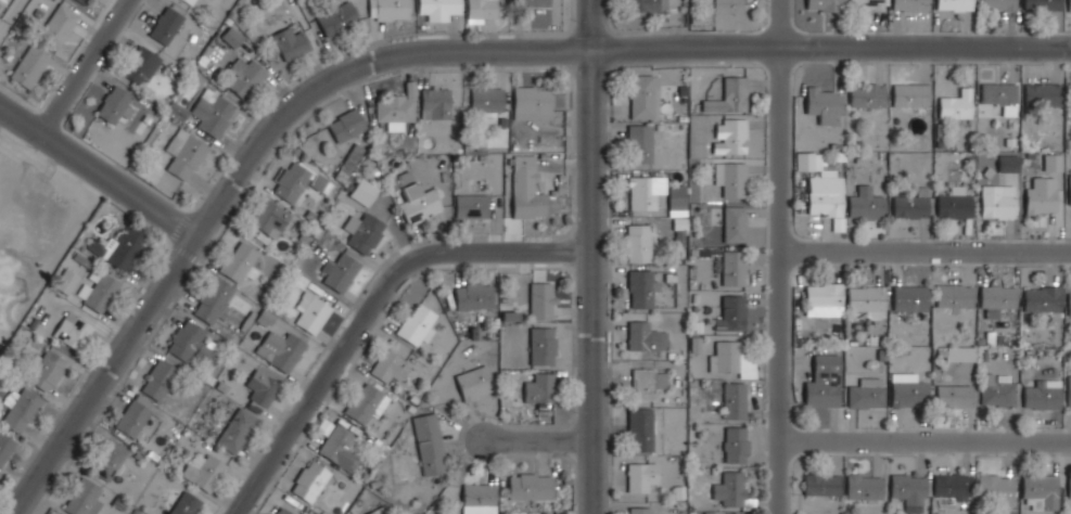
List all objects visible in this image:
building: (81, 1)
building: (187, 1)
building: (531, 2)
building: (646, 4)
building: (865, 4)
building: (909, 4)
building: (954, 4)
building: (997, 4)
building: (1042, 4)
building: (824, 5)
building: (1069, 5)
building: (728, 7)
building: (390, 9)
building: (437, 9)
building: (481, 11)
road: (9, 13)
building: (337, 17)
road: (589, 24)
building: (59, 25)
building: (165, 25)
building: (232, 36)
building: (290, 42)
road: (830, 46)
building: (140, 65)
building: (29, 66)
road: (84, 66)
building: (244, 76)
building: (910, 94)
building: (1042, 94)
building: (642, 95)
building: (728, 95)
building: (866, 97)
building: (999, 97)
building: (487, 100)
building: (434, 102)
building: (533, 102)
building: (112, 103)
building: (1070, 103)
building: (824, 105)
building: (955, 105)
building: (394, 108)
road: (2, 111)
building: (177, 111)
building: (212, 111)
building: (346, 125)
building: (694, 136)
building: (729, 137)
building: (639, 142)
building: (184, 155)
building: (806, 162)
building: (347, 163)
building: (1007, 163)
road: (97, 169)
road: (235, 176)
building: (730, 178)
building: (297, 180)
building: (525, 189)
building: (1070, 189)
building: (364, 192)
building: (654, 193)
building: (826, 196)
building: (1041, 197)
building: (417, 200)
building: (997, 202)
building: (954, 203)
building: (865, 204)
building: (911, 204)
building: (471, 206)
building: (268, 217)
building: (734, 224)
building: (364, 231)
building: (637, 242)
building: (118, 248)
road: (926, 250)
road: (780, 257)
building: (238, 260)
building: (734, 267)
building: (339, 272)
building: (64, 281)
road: (586, 281)
building: (639, 288)
building: (98, 292)
building: (473, 295)
building: (823, 296)
building: (954, 296)
building: (997, 296)
building: (909, 298)
building: (1041, 298)
building: (541, 300)
building: (1069, 300)
building: (866, 301)
building: (213, 303)
road: (358, 304)
building: (311, 311)
building: (731, 313)
building: (417, 323)
building: (643, 337)
building: (184, 339)
building: (540, 345)
building: (280, 349)
building: (957, 352)
building: (204, 355)
building: (727, 356)
building: (388, 365)
building: (46, 371)
building: (157, 380)
building: (823, 381)
building: (474, 383)
building: (647, 383)
building: (262, 387)
building: (539, 387)
building: (996, 389)
building: (907, 390)
building: (1069, 390)
building: (1043, 394)
building: (866, 396)
building: (953, 396)
building: (734, 400)
building: (364, 402)
building: (18, 409)
building: (132, 416)
building: (235, 429)
building: (640, 429)
road: (530, 439)
road: (925, 439)
building: (429, 444)
building: (735, 445)
building: (339, 447)
building: (4, 448)
building: (107, 460)
building: (203, 471)
building: (641, 477)
building: (309, 480)
building: (821, 484)
building: (530, 486)
building: (863, 486)
building: (952, 487)
building: (1069, 487)
building: (996, 488)
building: (731, 490)
building: (1043, 490)
building: (908, 491)
building: (479, 496)
building: (81, 498)
building: (184, 504)
building: (639, 510)
building: (282, 511)
building: (377, 511)

